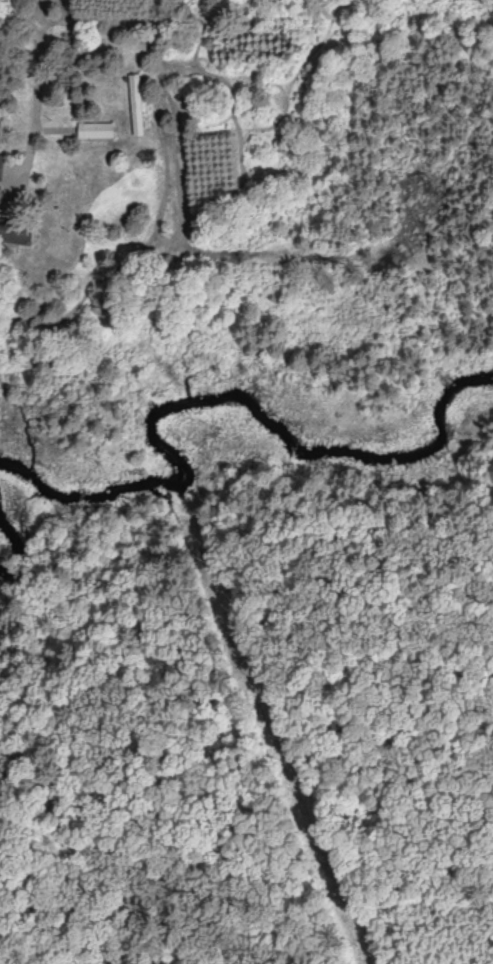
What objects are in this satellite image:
building: (139, 104)
building: (99, 130)
building: (3, 167)

